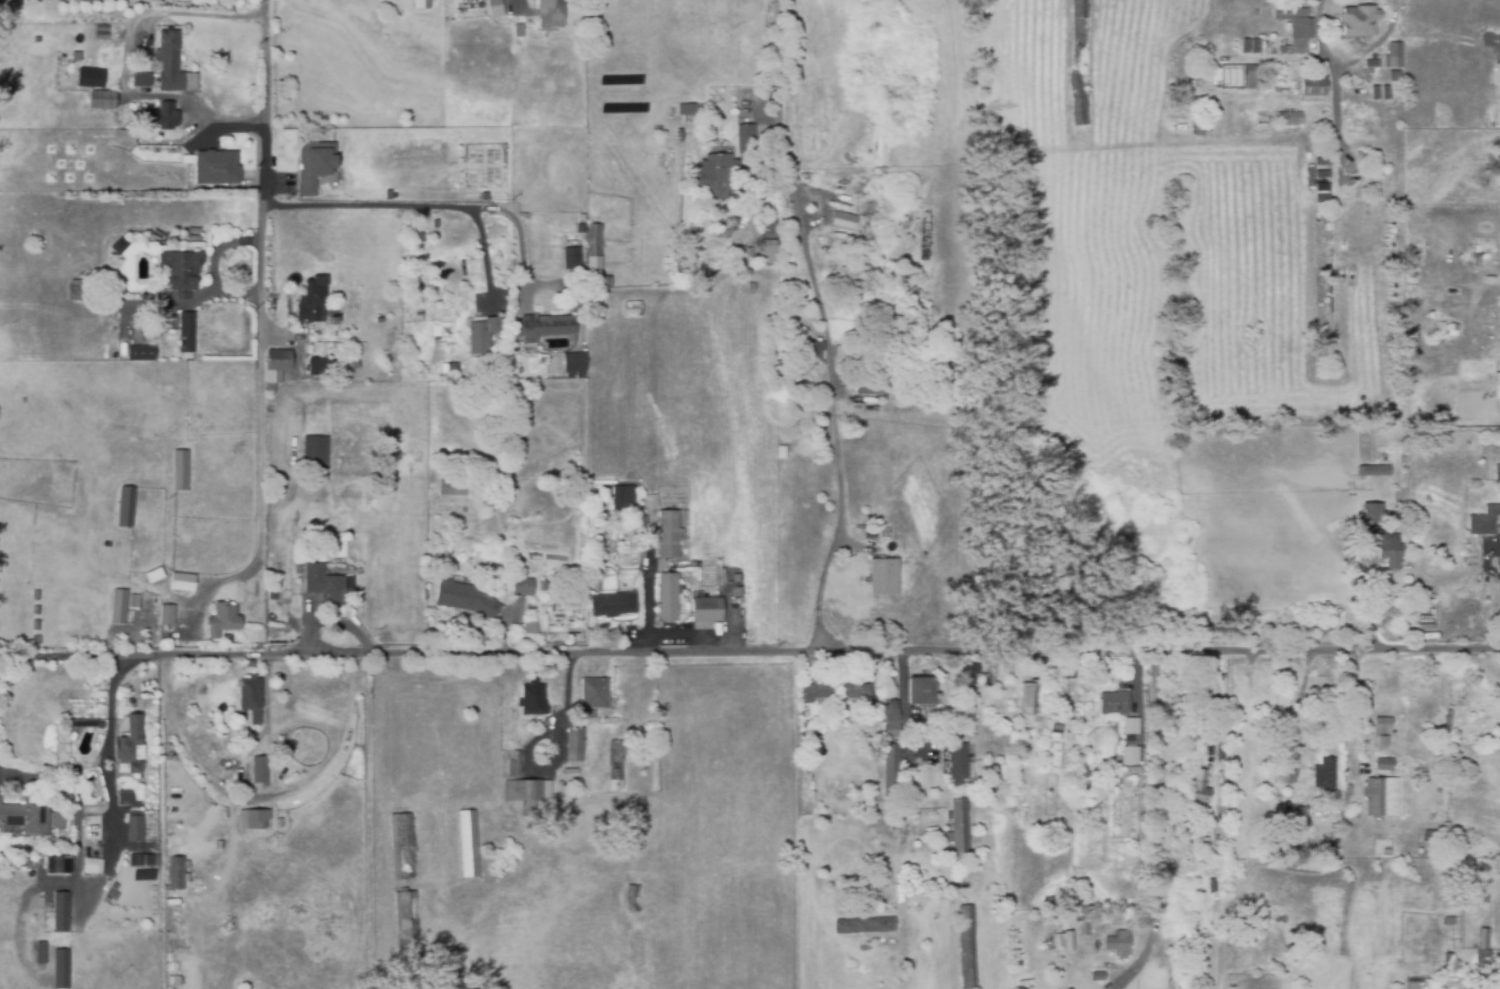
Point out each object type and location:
building: (432, 0)
building: (202, 1)
building: (419, 4)
building: (498, 8)
building: (553, 13)
building: (1356, 21)
building: (1294, 27)
building: (520, 31)
building: (117, 48)
building: (1391, 56)
building: (1472, 60)
building: (173, 61)
road: (124, 62)
building: (1079, 63)
building: (1199, 66)
building: (1495, 66)
building: (1248, 71)
road: (1332, 75)
building: (92, 76)
building: (143, 78)
building: (1311, 88)
building: (104, 98)
building: (683, 114)
building: (163, 115)
building: (1289, 118)
building: (1198, 128)
building: (744, 134)
building: (719, 145)
road: (261, 155)
building: (313, 165)
building: (221, 169)
building: (436, 174)
building: (1364, 174)
building: (587, 175)
building: (417, 177)
building: (714, 179)
building: (1335, 195)
road: (442, 206)
road: (794, 208)
building: (842, 220)
building: (767, 224)
building: (721, 235)
building: (117, 245)
building: (762, 251)
road: (484, 254)
building: (570, 259)
building: (594, 260)
building: (178, 272)
building: (749, 287)
building: (79, 294)
building: (314, 300)
building: (631, 310)
building: (335, 318)
building: (543, 328)
building: (1492, 331)
building: (482, 333)
building: (189, 334)
building: (1420, 338)
building: (142, 351)
building: (810, 351)
building: (840, 353)
building: (280, 357)
building: (571, 361)
building: (324, 363)
building: (350, 363)
building: (448, 366)
building: (577, 377)
building: (273, 378)
building: (867, 384)
building: (1496, 385)
building: (270, 407)
building: (316, 450)
building: (181, 468)
building: (1374, 471)
building: (1497, 473)
road: (260, 484)
building: (452, 489)
building: (618, 503)
building: (127, 504)
building: (594, 505)
building: (605, 508)
building: (1401, 509)
road: (837, 511)
building: (1371, 513)
building: (1484, 522)
building: (668, 535)
building: (1388, 547)
building: (299, 567)
building: (156, 573)
building: (882, 576)
building: (184, 580)
building: (325, 582)
building: (542, 587)
building: (522, 588)
building: (36, 593)
building: (464, 595)
building: (667, 598)
building: (135, 600)
building: (120, 604)
building: (612, 606)
building: (37, 608)
building: (705, 611)
building: (168, 613)
building: (224, 618)
building: (36, 623)
road: (816, 627)
building: (529, 628)
building: (38, 637)
road: (770, 647)
road: (18, 658)
building: (1069, 673)
building: (969, 676)
building: (855, 690)
building: (815, 691)
building: (920, 692)
building: (594, 693)
building: (253, 696)
building: (1027, 698)
road: (1214, 698)
building: (531, 701)
building: (891, 704)
road: (902, 704)
building: (1113, 704)
road: (1409, 710)
road: (1353, 713)
building: (888, 723)
building: (805, 724)
building: (1128, 726)
building: (1384, 729)
building: (132, 742)
building: (573, 745)
building: (1125, 752)
road: (107, 758)
building: (515, 762)
building: (1385, 762)
building: (957, 765)
building: (615, 766)
building: (1129, 767)
building: (261, 768)
building: (1325, 772)
building: (890, 778)
building: (1198, 787)
building: (528, 791)
building: (1382, 795)
building: (123, 798)
building: (614, 800)
building: (24, 816)
building: (254, 817)
road: (1159, 818)
building: (57, 820)
building: (281, 821)
building: (136, 824)
building: (867, 831)
building: (94, 833)
building: (281, 837)
building: (470, 841)
building: (959, 842)
building: (281, 844)
building: (404, 845)
building: (1388, 851)
building: (150, 859)
building: (57, 864)
building: (92, 864)
building: (179, 871)
building: (633, 899)
building: (63, 910)
building: (408, 925)
building: (863, 927)
building: (1062, 941)
building: (1123, 942)
building: (966, 948)
building: (1483, 950)
building: (43, 951)
building: (1449, 962)
building: (63, 968)
building: (1097, 977)
building: (1109, 985)

